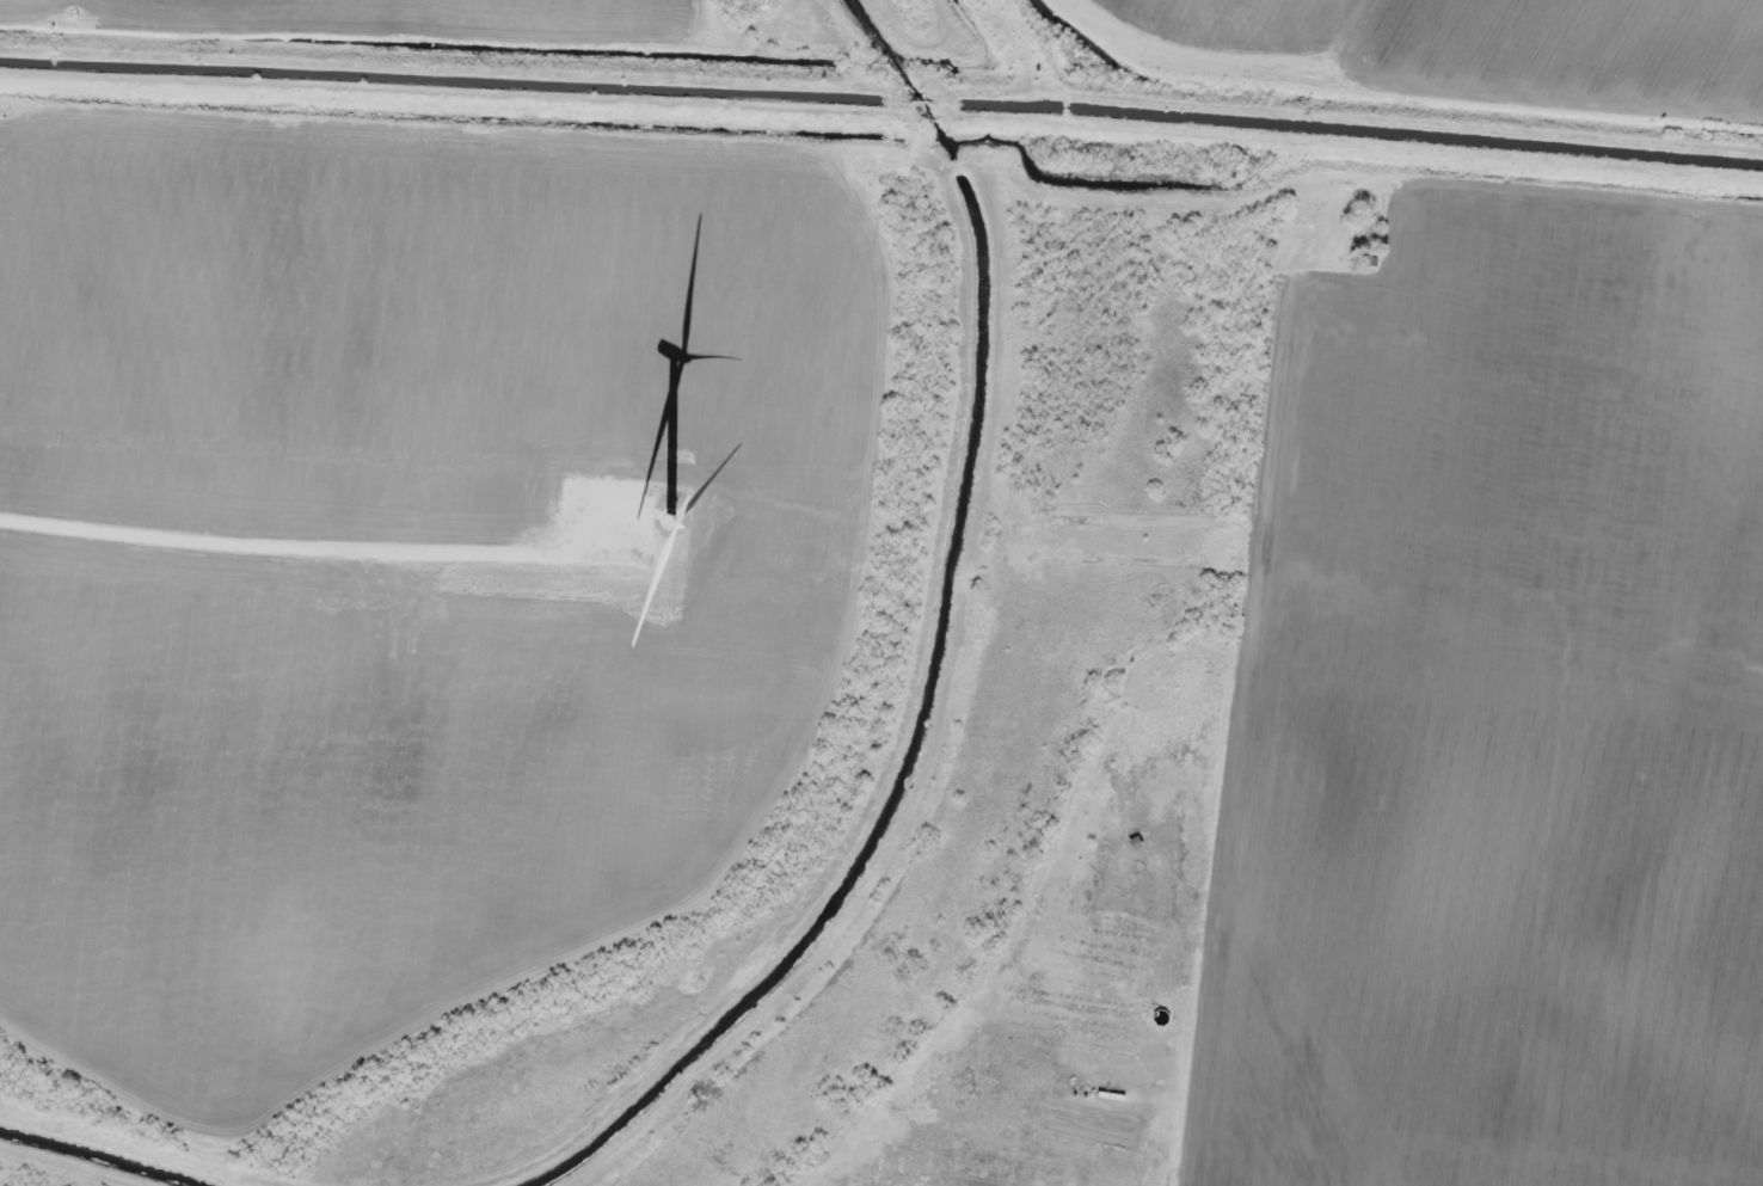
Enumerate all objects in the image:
wind turbine: (666, 531)

